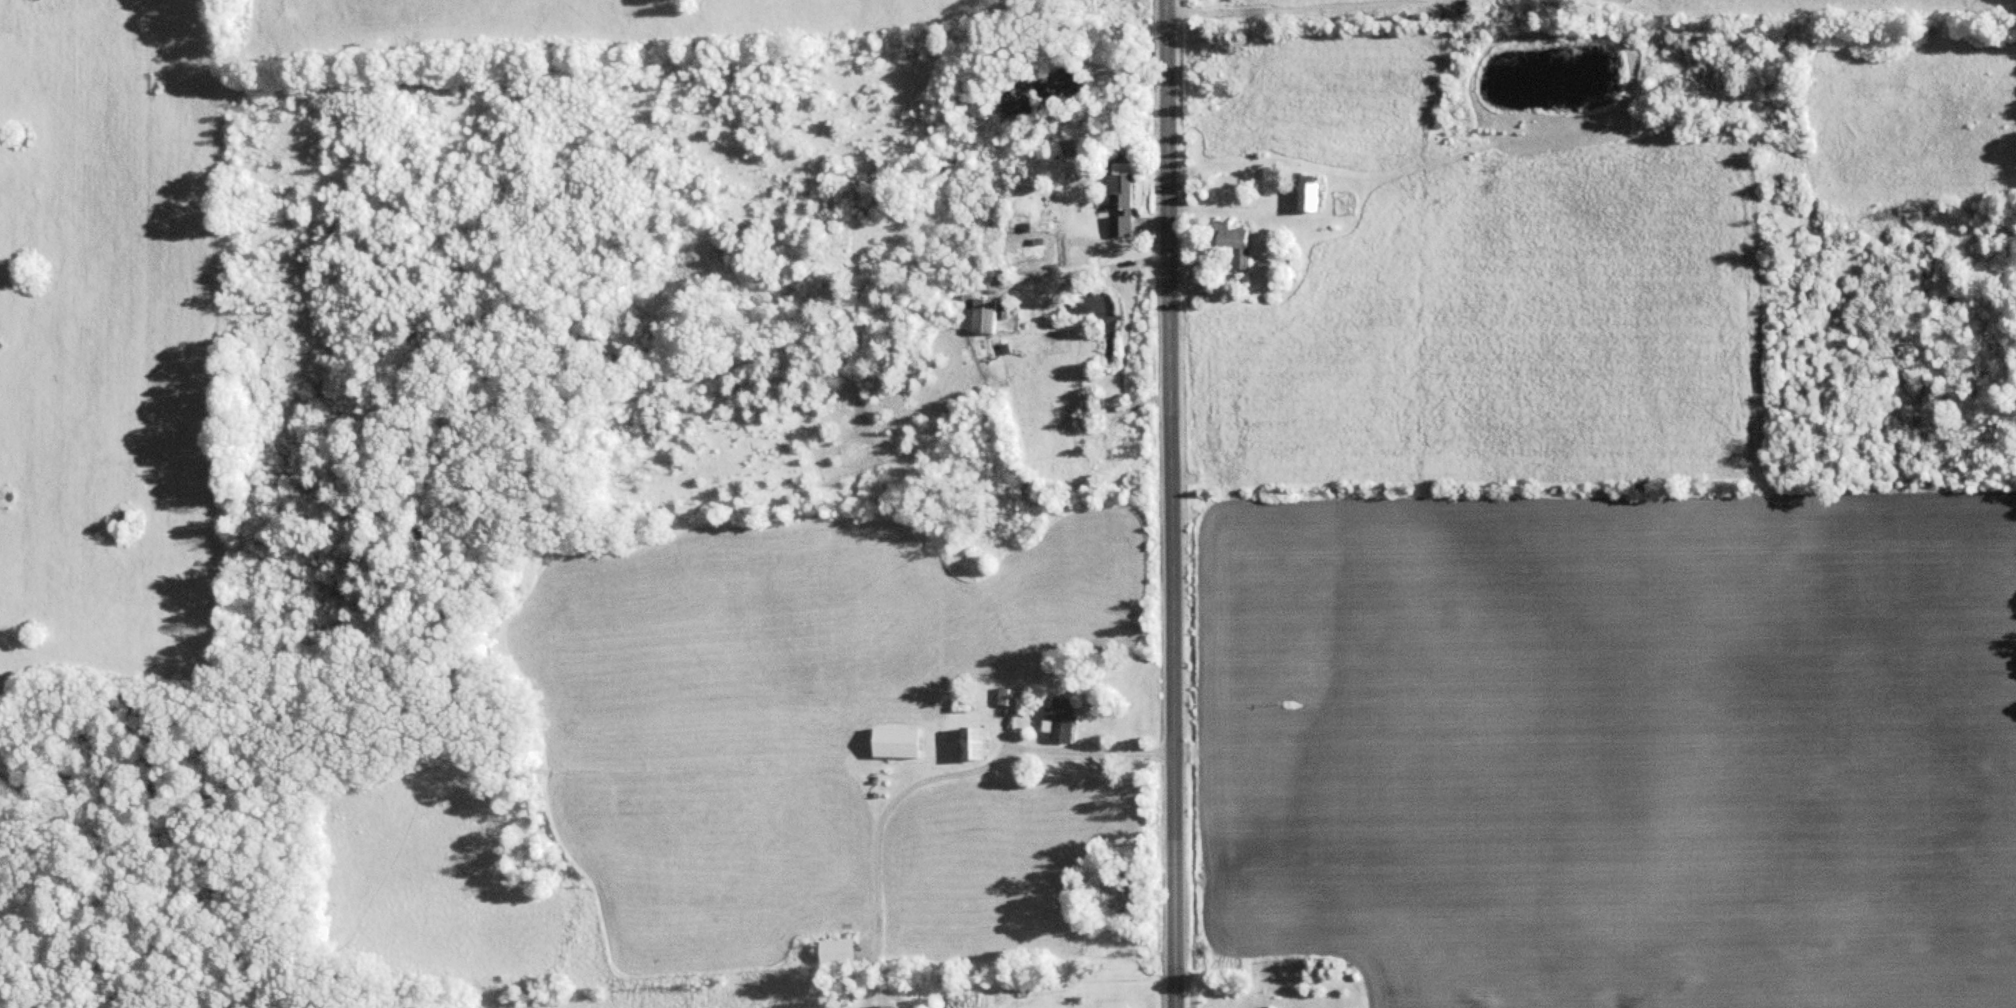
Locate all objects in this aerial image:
building: (1313, 196)
building: (1120, 199)
building: (1039, 233)
building: (1237, 237)
building: (987, 316)
crop: (108, 343)
road: (1166, 503)
building: (1008, 697)
building: (1062, 720)
building: (900, 742)
road: (922, 778)
building: (842, 952)
building: (885, 1006)

